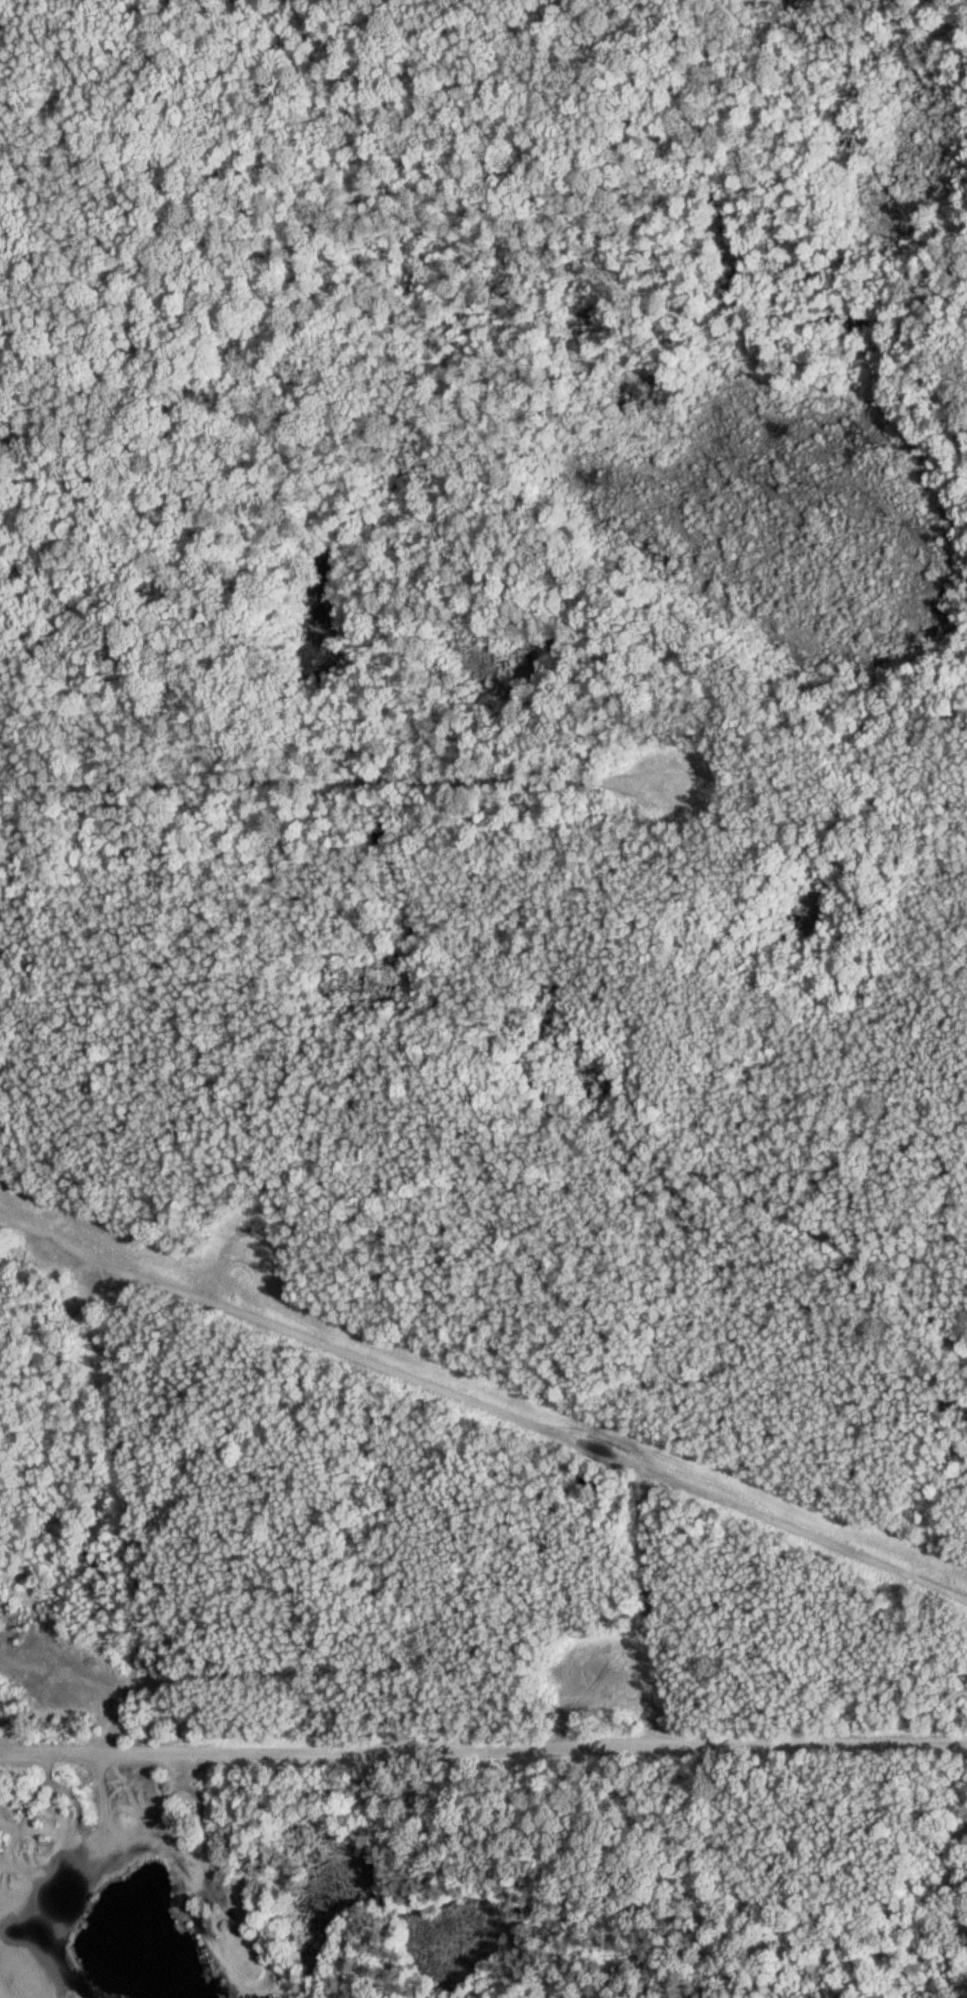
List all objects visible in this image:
road: (483, 1405)
road: (130, 1516)
road: (483, 1745)

